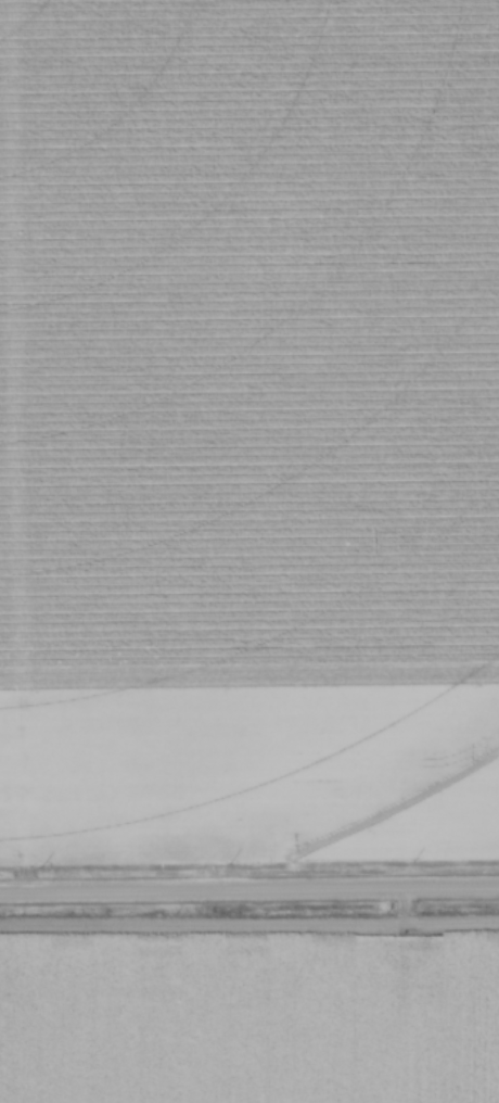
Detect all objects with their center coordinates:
road: (250, 892)

